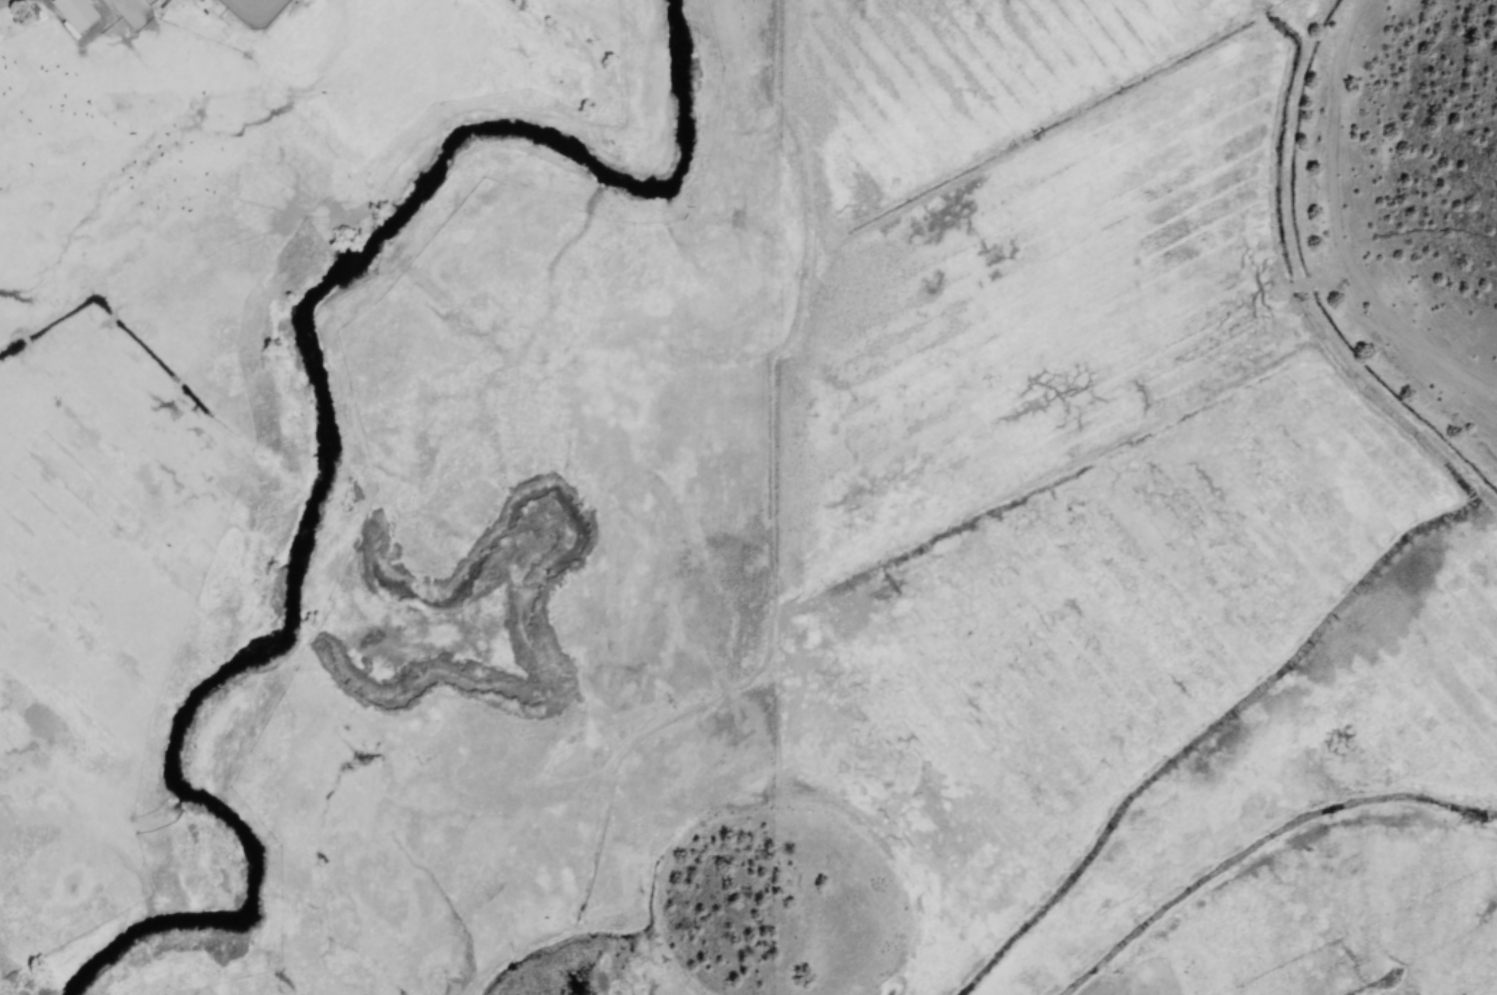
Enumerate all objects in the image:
building: (75, 13)
river: (312, 433)

